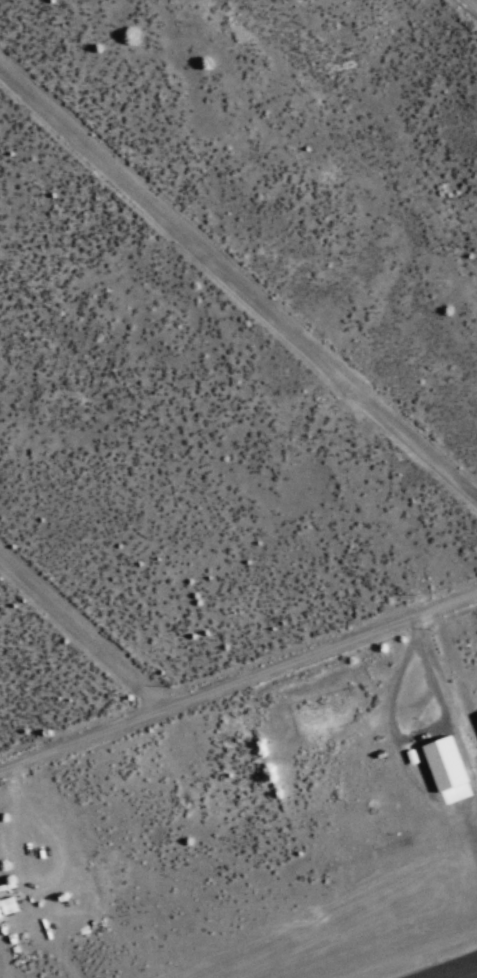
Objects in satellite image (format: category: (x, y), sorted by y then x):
road: (473, 3)
road: (237, 284)
road: (84, 634)
road: (238, 685)
building: (448, 770)
building: (8, 906)
airport runway: (470, 975)

